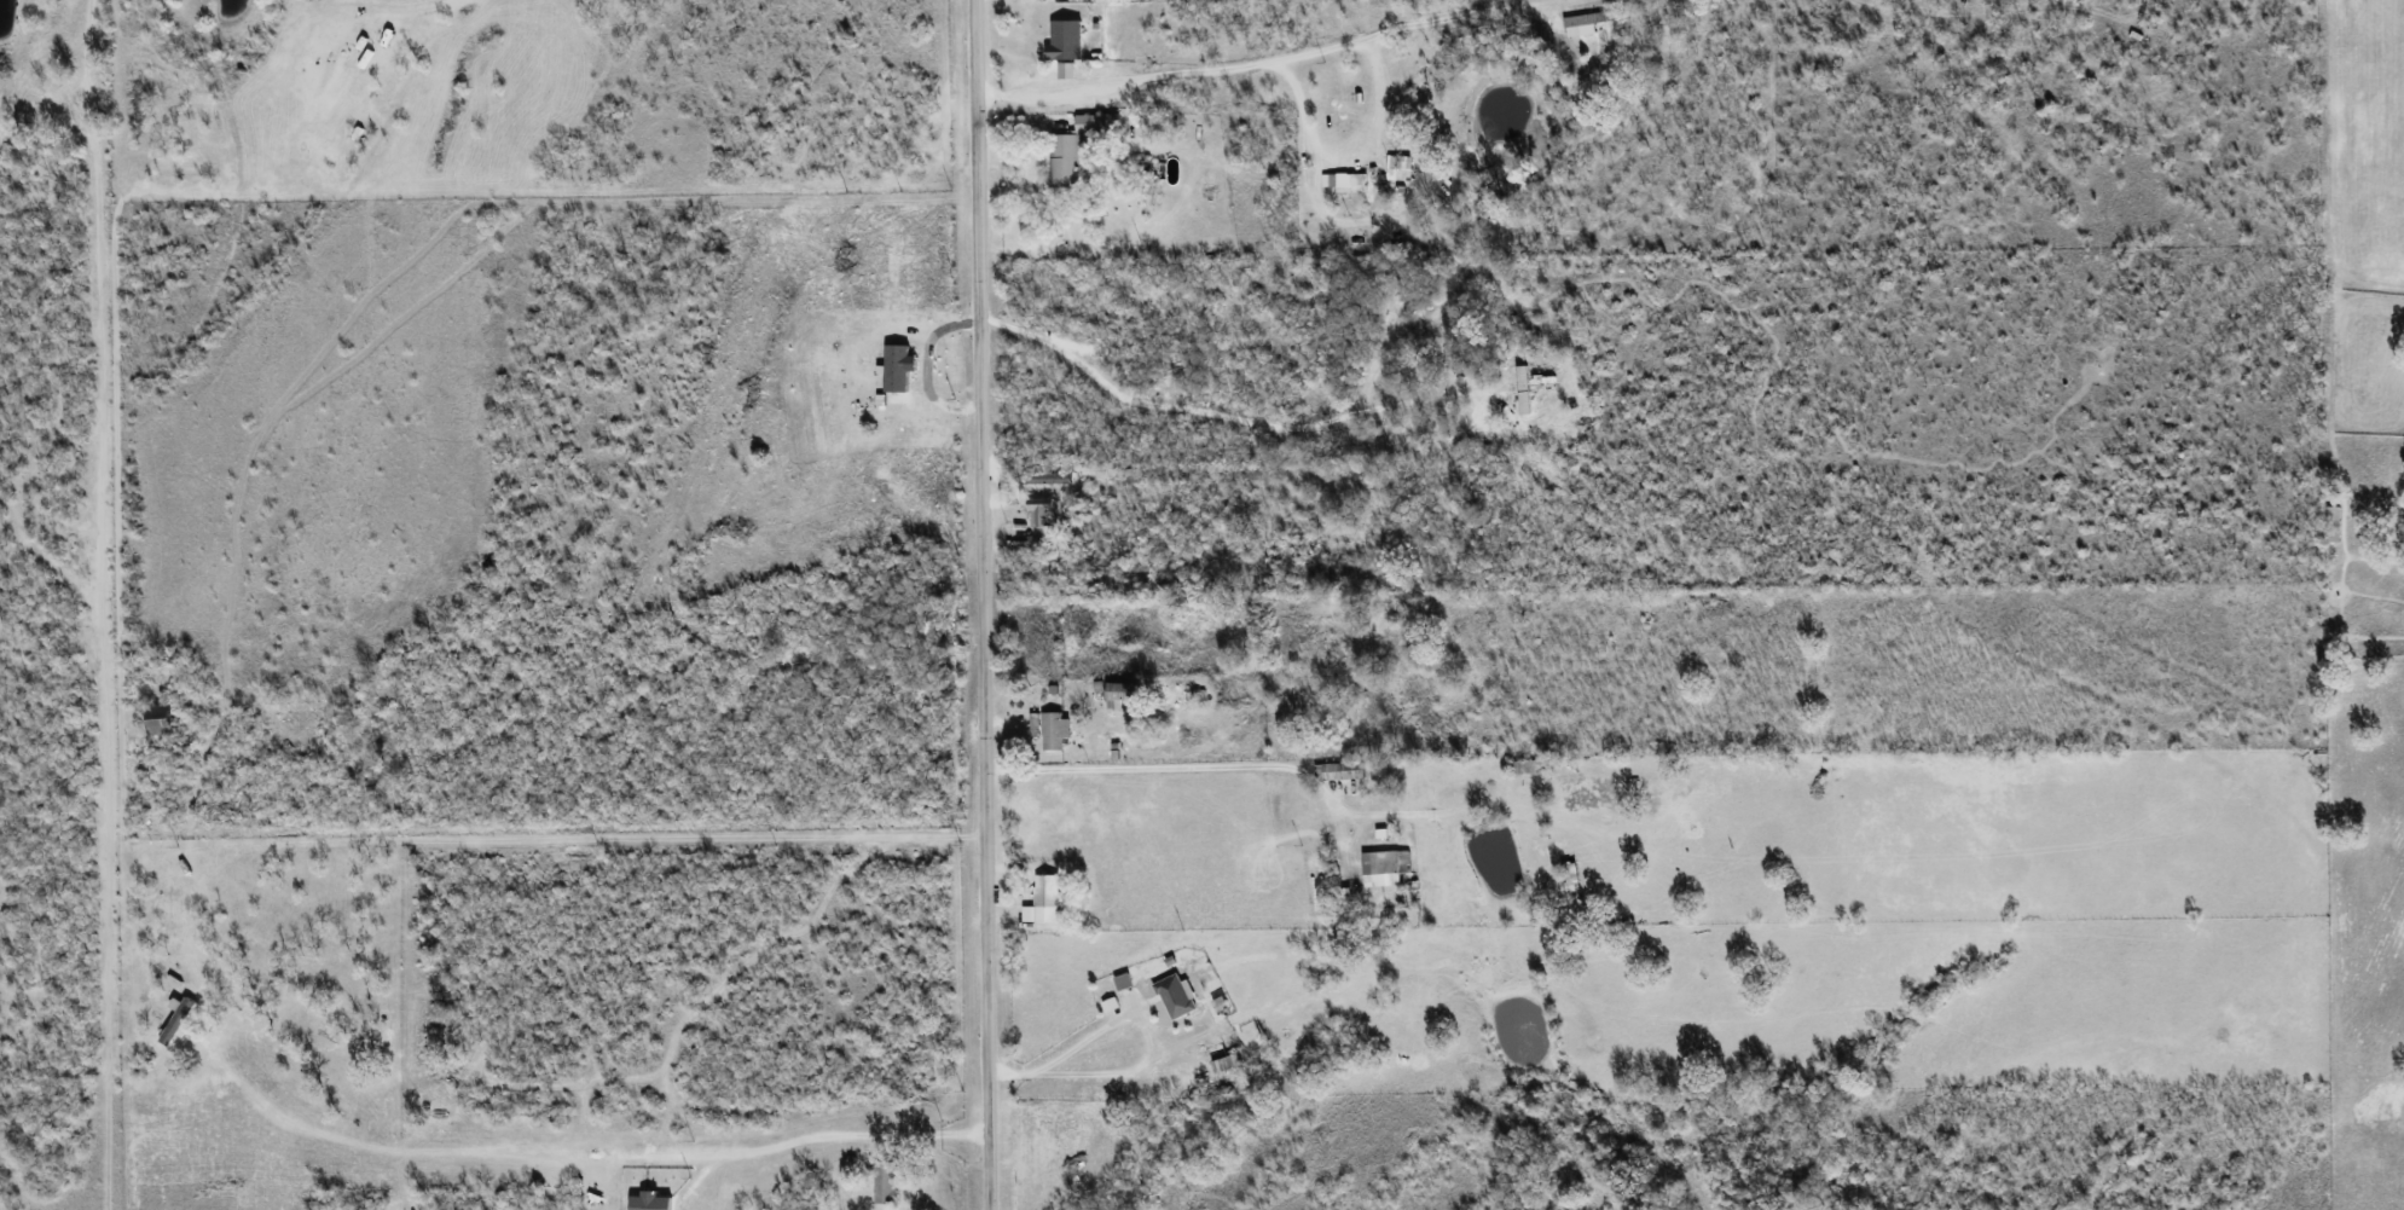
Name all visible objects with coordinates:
building: (1587, 22)
building: (1067, 39)
road: (1263, 64)
building: (1068, 69)
building: (1082, 145)
road: (1354, 157)
building: (1346, 180)
building: (899, 367)
building: (1545, 380)
building: (1527, 389)
road: (1232, 418)
building: (1050, 477)
building: (1047, 519)
building: (2334, 523)
road: (984, 604)
building: (163, 719)
building: (1037, 723)
building: (1058, 730)
road: (1180, 760)
building: (1342, 770)
building: (1388, 867)
building: (1048, 899)
building: (1126, 980)
building: (1178, 996)
building: (181, 1019)
road: (1067, 1050)
building: (1227, 1058)
road: (858, 1133)
road: (454, 1145)
building: (887, 1181)
building: (654, 1202)

